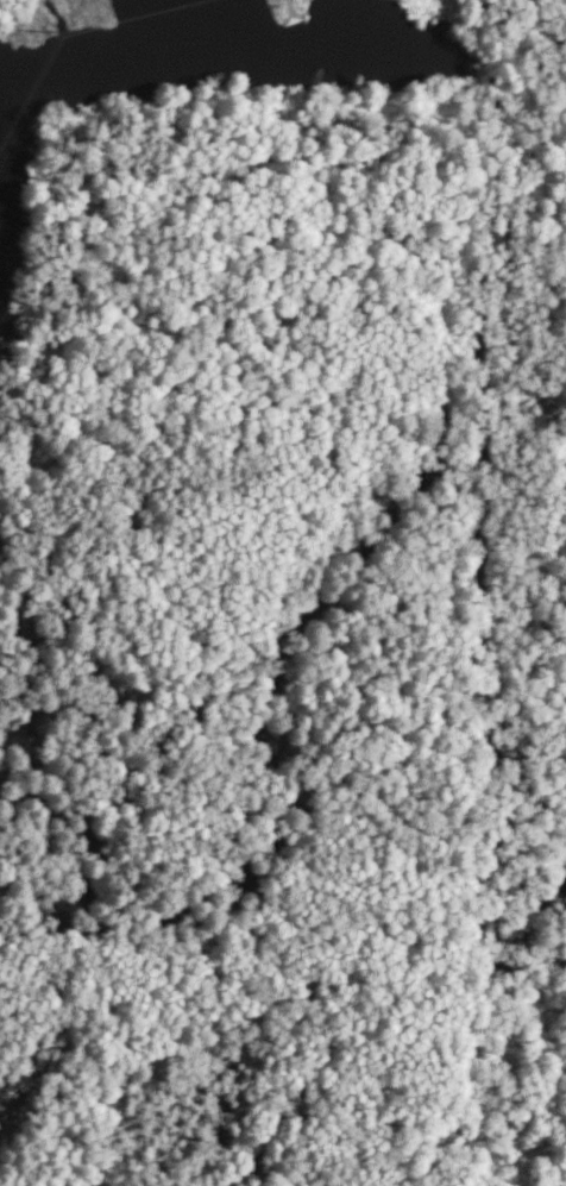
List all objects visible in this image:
power tower: (55, 30)

